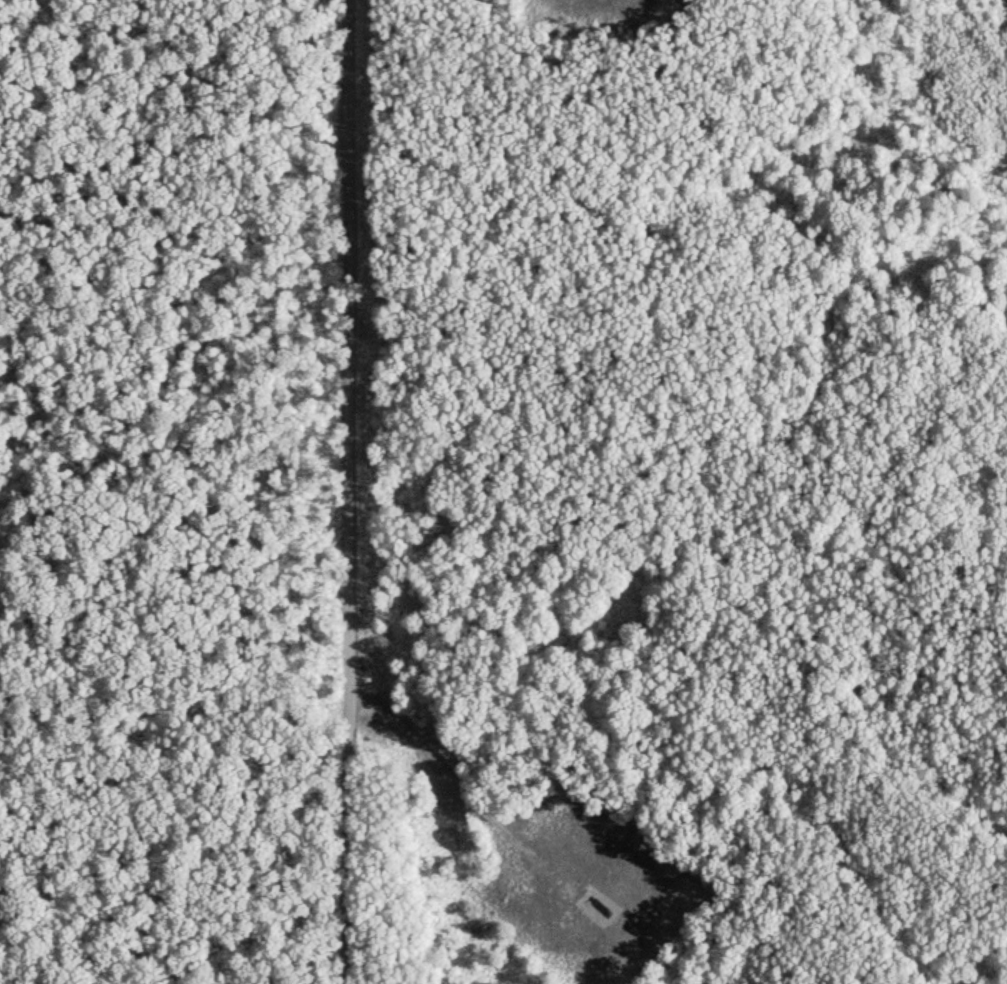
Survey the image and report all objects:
road: (347, 492)
road: (441, 775)
petroleum well: (587, 900)

